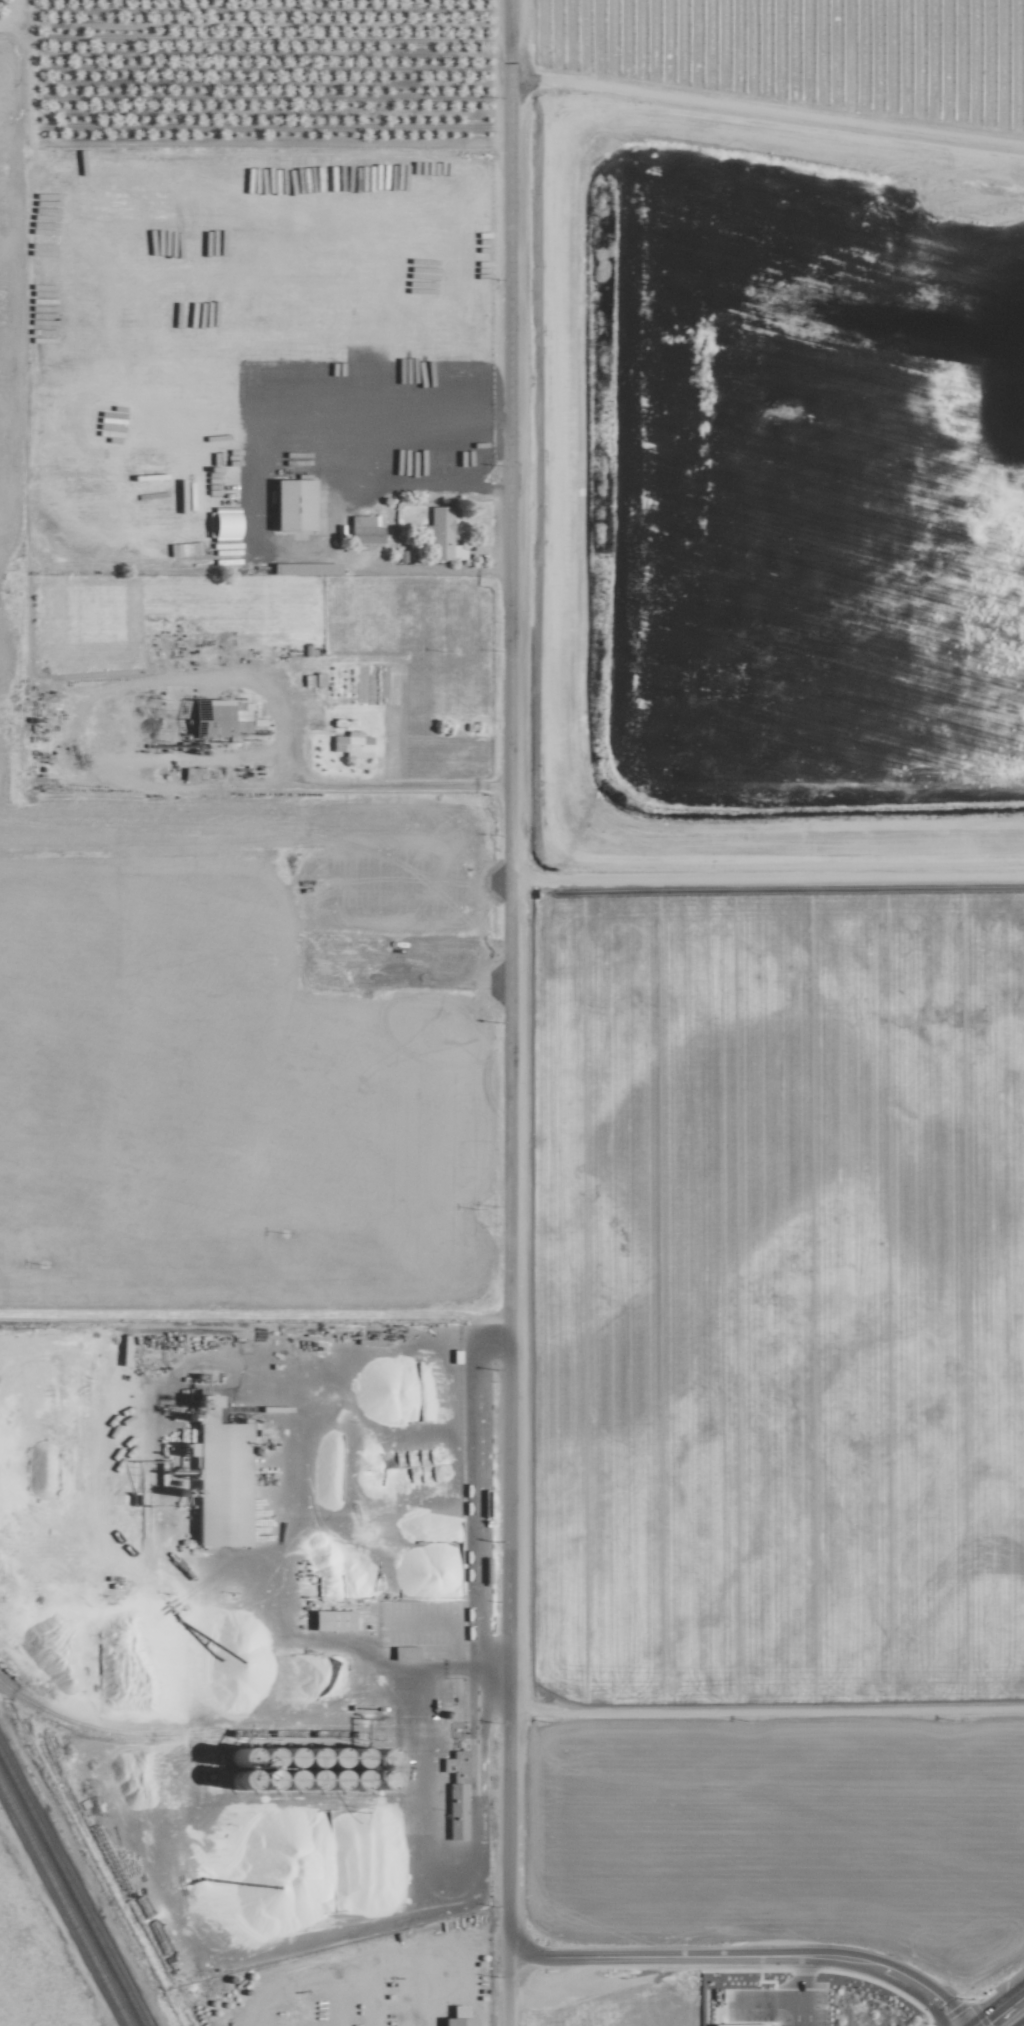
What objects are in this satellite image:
building: (289, 503)
building: (362, 529)
building: (442, 535)
road: (411, 567)
building: (208, 720)
road: (76, 735)
road: (375, 782)
road: (507, 977)
building: (328, 1620)
railway: (293, 1725)
railway: (211, 1732)
building: (454, 1810)
railway: (72, 1889)
railway: (64, 1904)
road: (745, 1956)
road: (509, 1991)
road: (800, 1991)
road: (765, 2000)
road: (996, 2007)
building: (455, 2021)
road: (1020, 2023)
building: (736, 2024)

